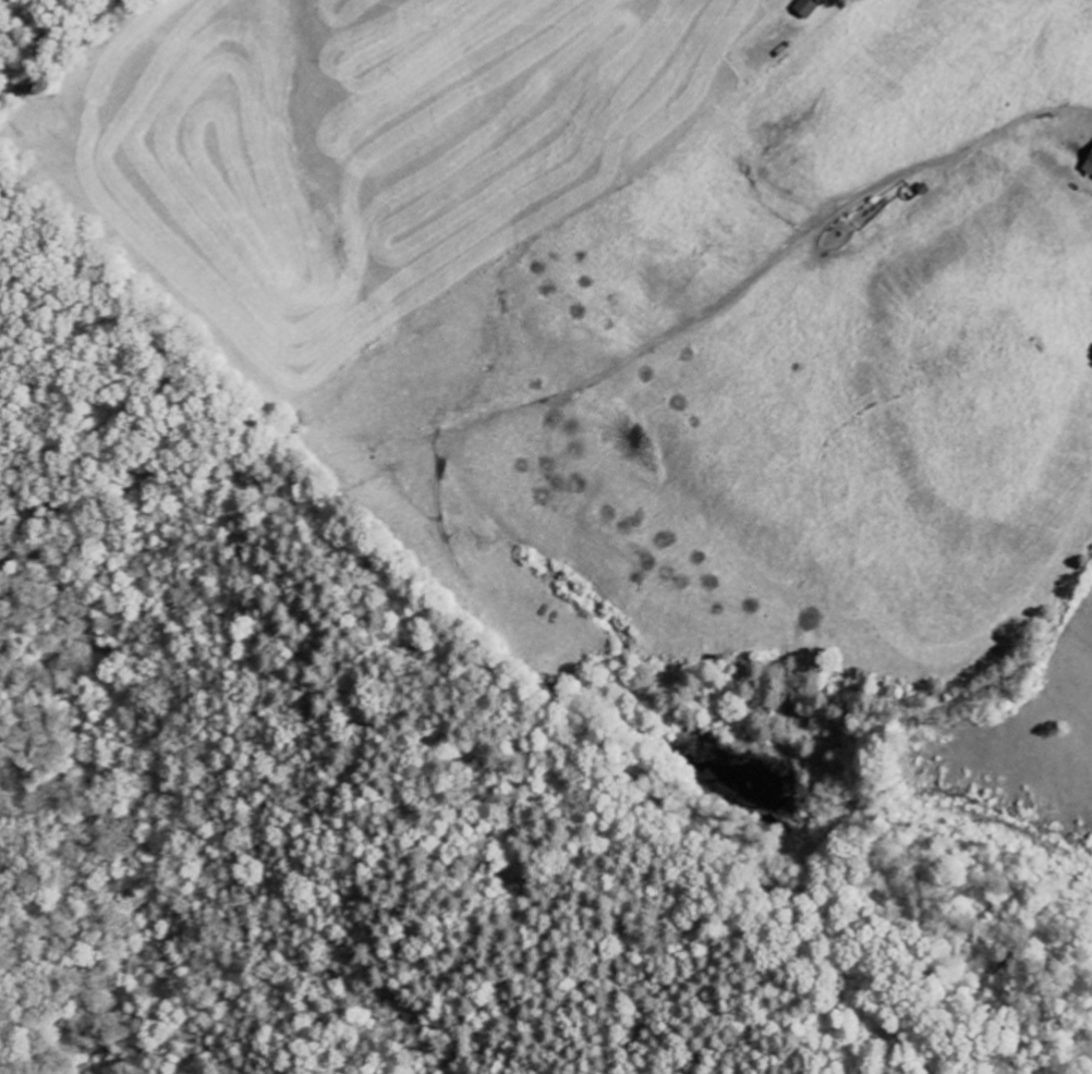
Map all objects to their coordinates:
building: (806, 9)
building: (1089, 168)

